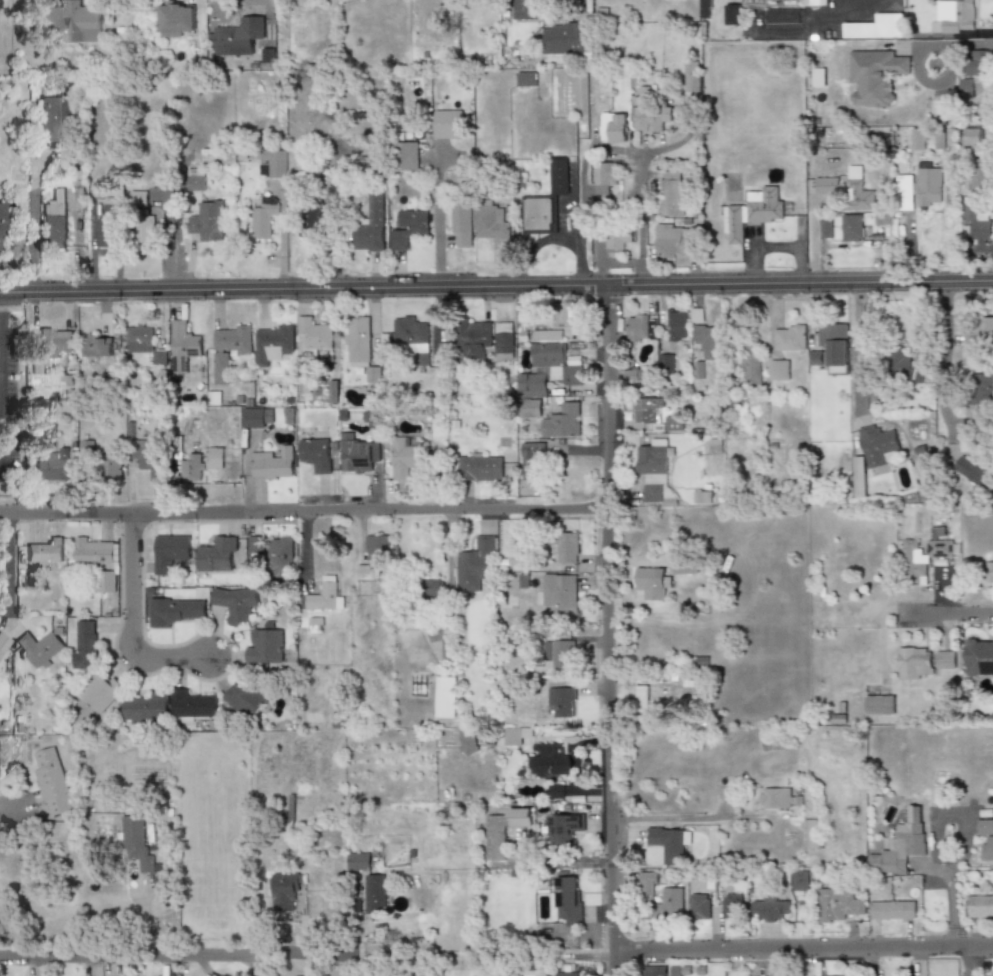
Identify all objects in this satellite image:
road: (266, 1)
road: (581, 2)
building: (814, 3)
road: (864, 5)
building: (525, 9)
building: (705, 9)
building: (732, 14)
building: (956, 15)
building: (781, 19)
building: (175, 20)
building: (70, 23)
building: (872, 27)
building: (238, 36)
building: (565, 37)
road: (950, 43)
building: (977, 62)
building: (691, 75)
building: (873, 76)
building: (817, 77)
building: (526, 79)
building: (964, 88)
building: (938, 110)
building: (647, 113)
building: (50, 115)
building: (448, 124)
building: (613, 127)
building: (971, 136)
building: (918, 139)
building: (408, 155)
building: (274, 165)
building: (366, 165)
building: (980, 173)
building: (558, 176)
building: (603, 176)
building: (196, 179)
building: (826, 185)
building: (857, 190)
building: (917, 190)
road: (581, 194)
building: (670, 194)
building: (78, 195)
road: (640, 196)
building: (138, 199)
building: (754, 211)
building: (538, 215)
building: (264, 216)
road: (438, 219)
building: (208, 220)
building: (317, 220)
building: (977, 222)
building: (462, 223)
road: (336, 224)
building: (371, 224)
building: (491, 224)
road: (34, 225)
building: (0, 226)
building: (106, 226)
building: (141, 227)
building: (851, 227)
building: (53, 228)
building: (407, 228)
building: (616, 237)
road: (283, 238)
building: (672, 240)
road: (496, 288)
building: (563, 314)
building: (675, 325)
building: (638, 328)
building: (979, 332)
building: (546, 334)
building: (311, 336)
building: (473, 336)
building: (139, 338)
building: (411, 338)
building: (788, 338)
building: (504, 340)
building: (707, 340)
building: (53, 342)
building: (273, 343)
building: (183, 345)
building: (829, 345)
building: (97, 346)
building: (359, 346)
road: (856, 347)
building: (228, 350)
building: (157, 358)
building: (554, 363)
building: (664, 363)
building: (901, 366)
road: (942, 366)
building: (749, 367)
building: (778, 370)
building: (836, 371)
building: (531, 385)
building: (982, 389)
building: (529, 408)
building: (646, 410)
building: (257, 418)
building: (561, 422)
building: (672, 423)
building: (877, 444)
building: (713, 446)
building: (314, 454)
building: (355, 454)
building: (145, 456)
building: (404, 457)
building: (532, 459)
building: (201, 463)
building: (273, 465)
building: (51, 466)
building: (114, 466)
building: (479, 468)
building: (972, 469)
building: (653, 472)
building: (858, 476)
road: (304, 520)
building: (255, 544)
building: (566, 546)
building: (95, 552)
building: (45, 553)
building: (170, 553)
building: (218, 555)
building: (281, 557)
building: (375, 558)
building: (920, 558)
building: (476, 565)
building: (686, 567)
road: (9, 568)
building: (989, 572)
building: (106, 581)
building: (652, 583)
building: (434, 586)
building: (562, 593)
building: (326, 596)
building: (236, 603)
building: (174, 610)
road: (609, 617)
road: (947, 618)
building: (316, 625)
road: (132, 633)
building: (3, 642)
building: (85, 644)
building: (40, 647)
building: (265, 647)
building: (978, 655)
building: (559, 656)
building: (945, 659)
building: (914, 663)
building: (100, 691)
building: (247, 697)
building: (445, 697)
building: (659, 697)
building: (642, 698)
building: (561, 702)
building: (879, 704)
building: (192, 705)
building: (147, 706)
building: (515, 735)
building: (467, 740)
building: (553, 760)
building: (51, 781)
building: (554, 790)
building: (779, 798)
road: (13, 811)
road: (673, 817)
building: (563, 828)
building: (503, 831)
building: (812, 834)
building: (986, 838)
building: (669, 841)
building: (138, 842)
building: (901, 845)
road: (955, 854)
building: (361, 861)
building: (134, 878)
building: (800, 880)
building: (288, 890)
building: (376, 893)
building: (659, 898)
building: (566, 899)
building: (838, 904)
building: (699, 905)
building: (731, 905)
building: (979, 906)
building: (772, 908)
building: (892, 910)
road: (802, 944)
road: (176, 953)
road: (612, 961)
building: (655, 970)
building: (991, 973)
building: (561, 974)

